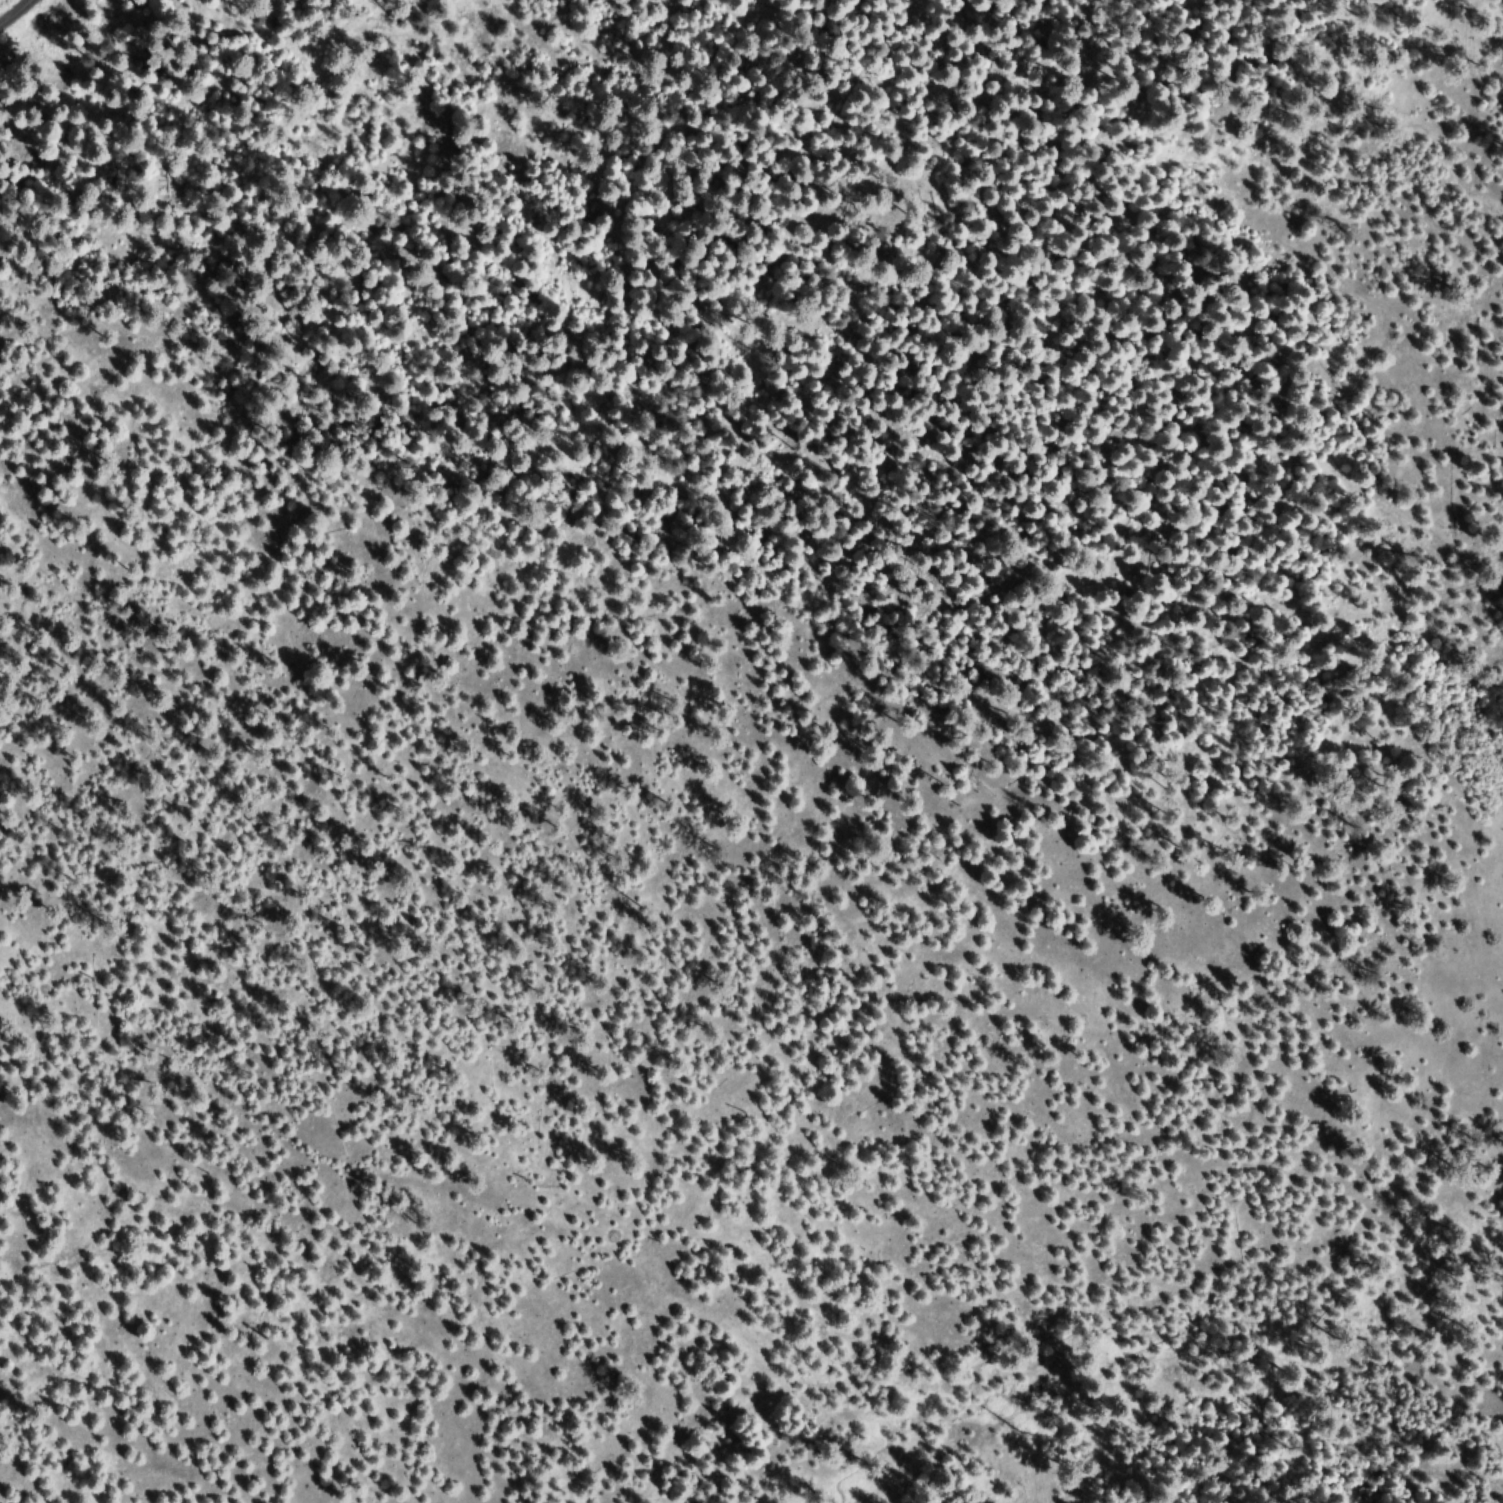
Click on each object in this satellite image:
road: (45, 33)

